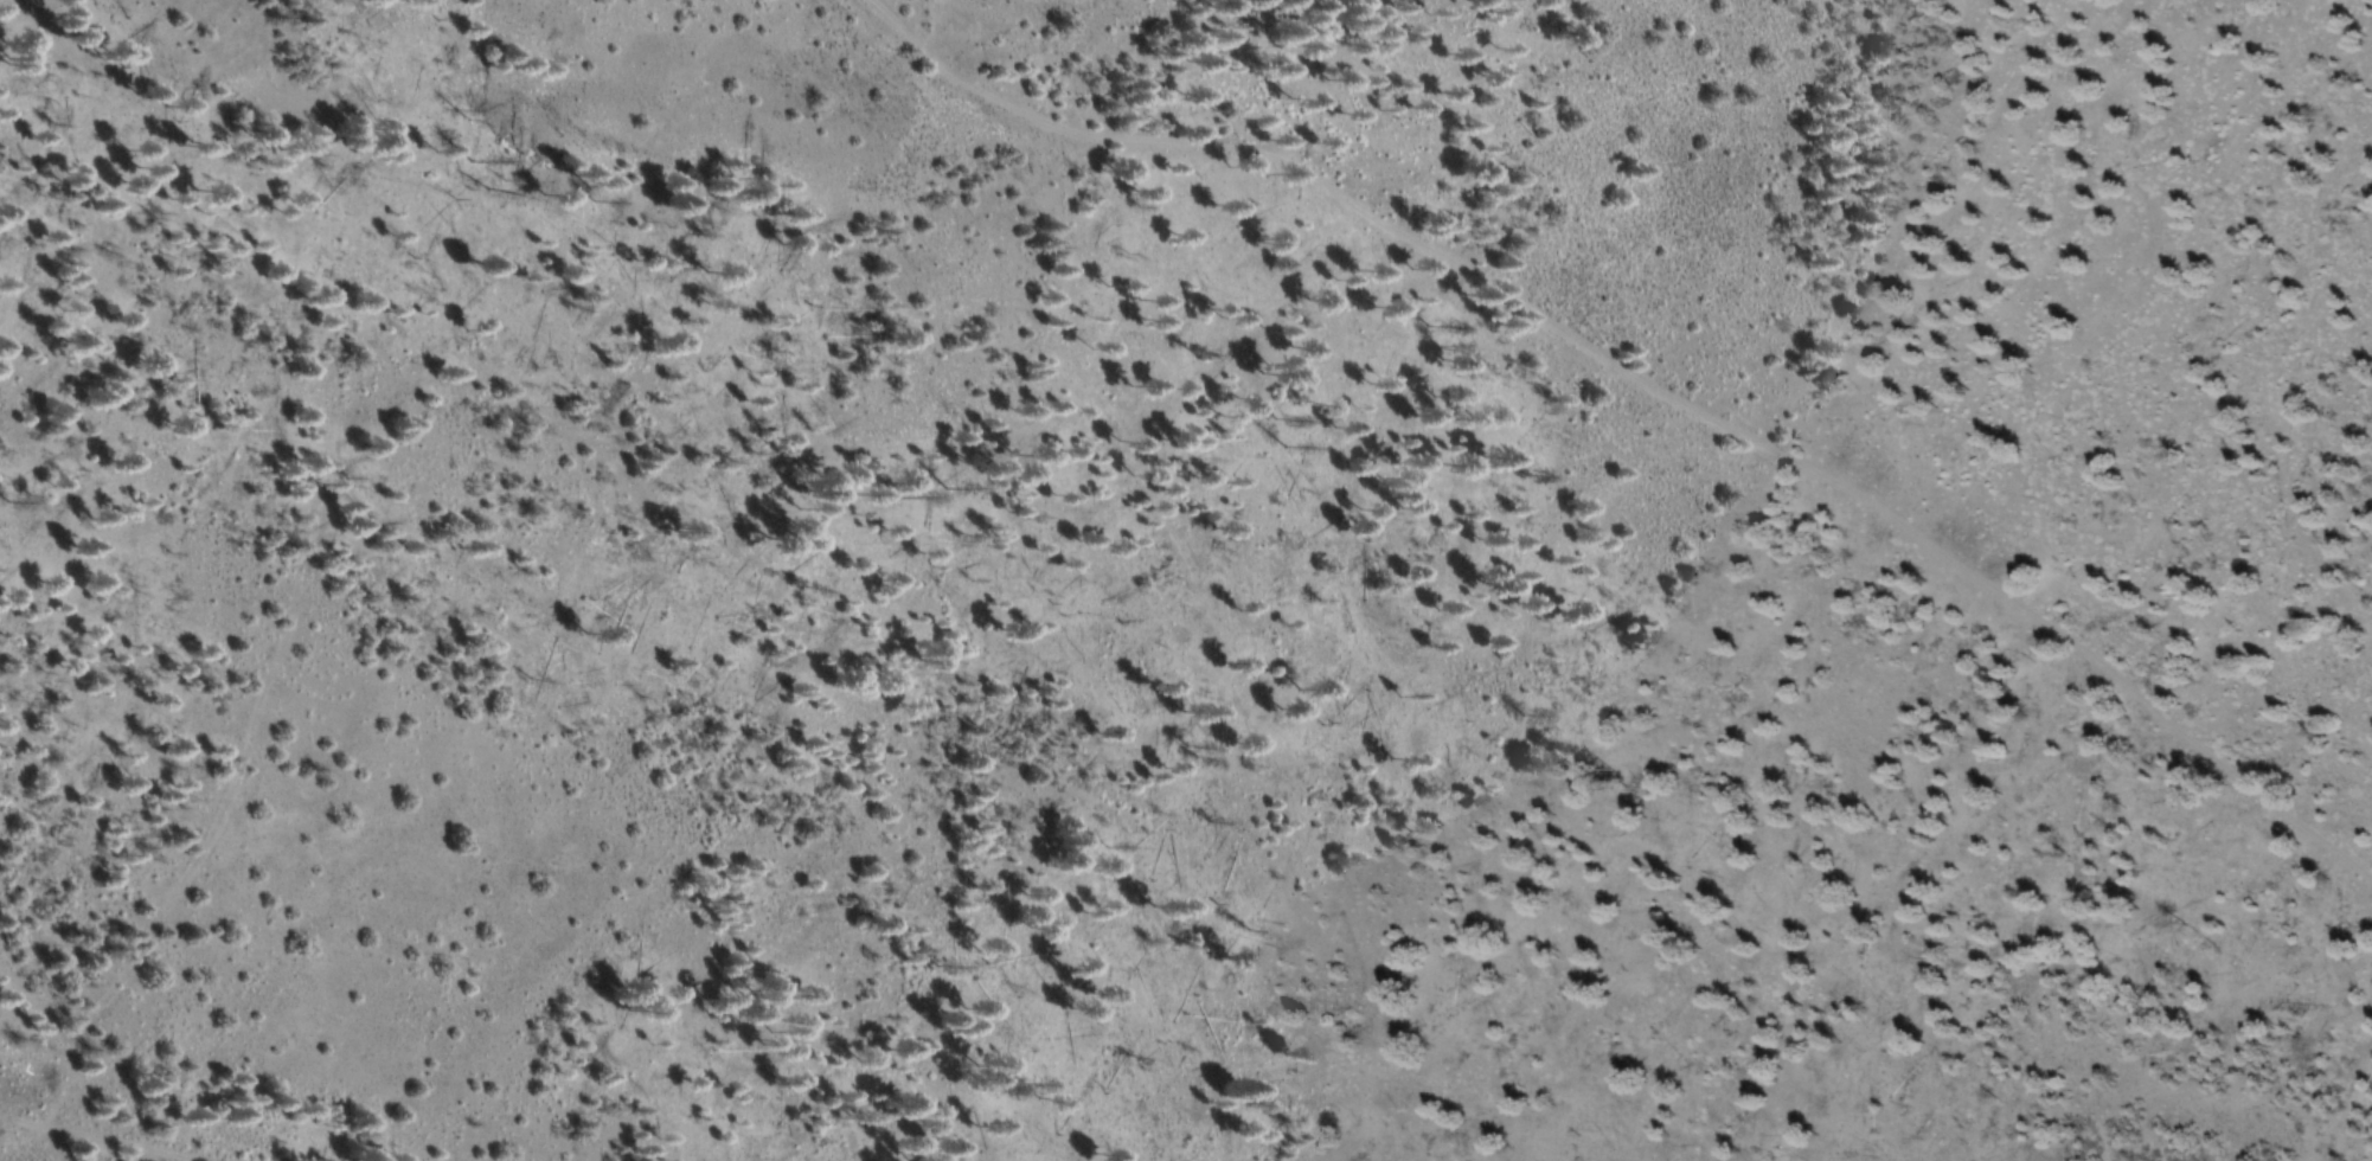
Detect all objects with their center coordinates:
road: (1639, 378)
road: (111, 1134)

